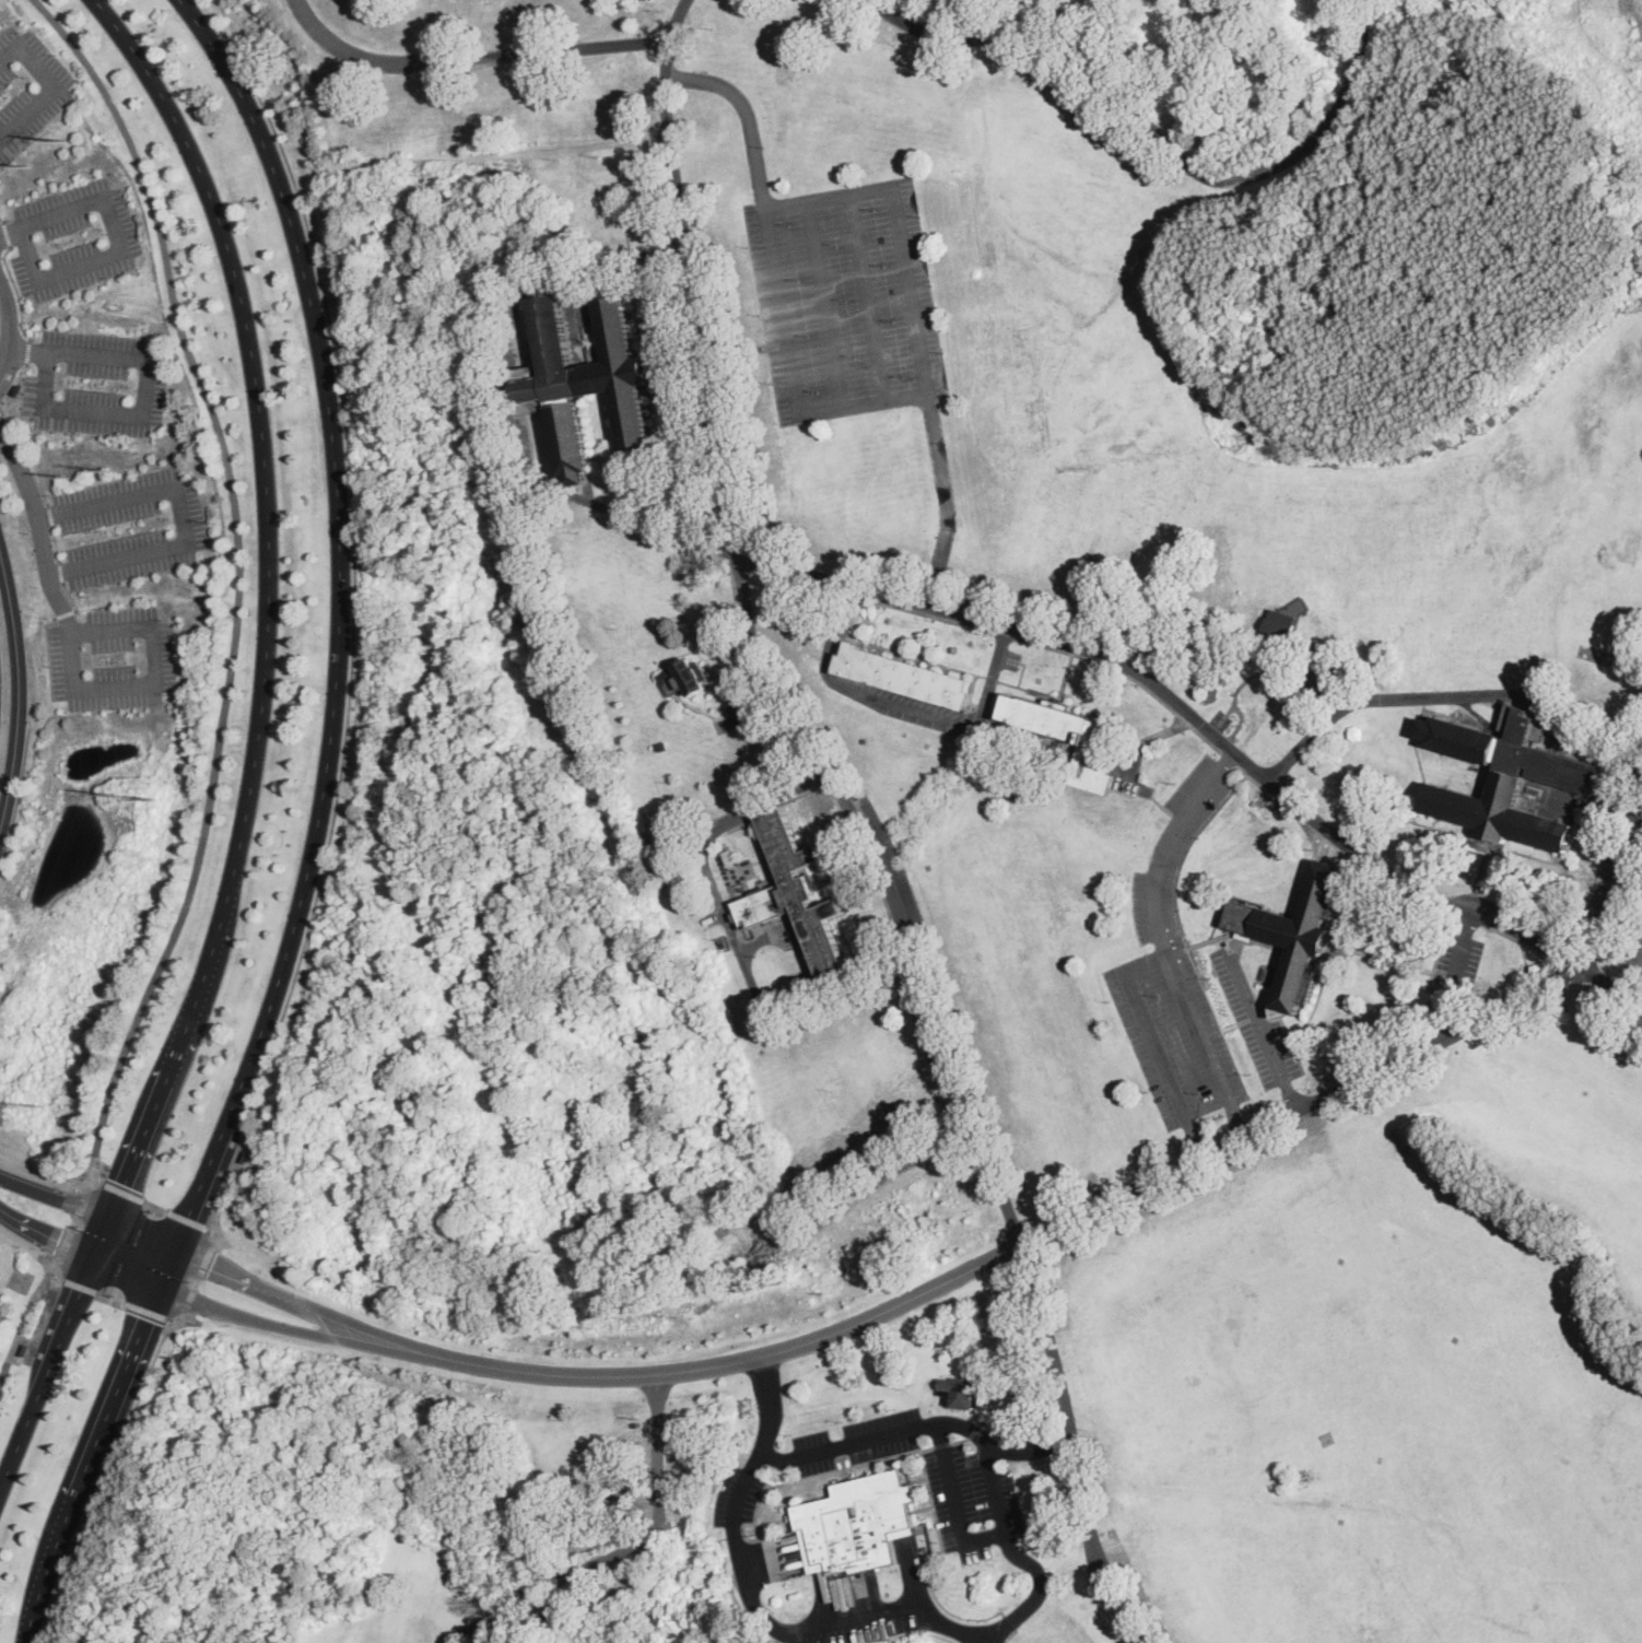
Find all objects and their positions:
road: (471, 56)
road: (56, 84)
parking lot: (28, 91)
road: (749, 115)
road: (1157, 131)
power tower: (67, 142)
power tower: (28, 167)
road: (770, 211)
road: (1, 219)
road: (10, 230)
road: (5, 233)
parking lot: (74, 242)
road: (120, 250)
road: (16, 292)
road: (873, 297)
parking lot: (845, 298)
road: (825, 305)
road: (13, 326)
road: (28, 350)
building: (584, 379)
road: (16, 383)
parking lot: (98, 385)
building: (16, 389)
road: (145, 399)
road: (2, 402)
road: (512, 404)
road: (28, 451)
power tower: (110, 471)
power tower: (68, 478)
road: (948, 498)
road: (38, 514)
road: (180, 516)
road: (50, 517)
parking lot: (129, 528)
road: (57, 545)
road: (62, 574)
road: (237, 582)
building: (1289, 585)
road: (73, 599)
road: (66, 615)
road: (353, 619)
building: (1279, 629)
road: (1005, 637)
road: (754, 646)
road: (829, 647)
road: (48, 655)
road: (726, 656)
parking lot: (114, 661)
building: (904, 677)
building: (685, 680)
road: (146, 684)
road: (16, 689)
road: (990, 689)
road: (722, 695)
road: (1449, 696)
road: (779, 703)
parking lot: (752, 709)
road: (701, 712)
road: (750, 716)
road: (960, 723)
road: (1211, 731)
building: (1065, 735)
building: (664, 747)
road: (256, 748)
building: (1510, 778)
power tower: (109, 797)
power tower: (153, 800)
road: (316, 830)
building: (730, 857)
park: (1309, 862)
road: (1611, 891)
parking lot: (1612, 892)
building: (794, 894)
road: (730, 927)
building: (1297, 934)
road: (1163, 939)
road: (757, 942)
building: (786, 942)
building: (725, 943)
parking lot: (1633, 950)
parking lot: (1457, 965)
road: (1455, 973)
parking lot: (1175, 974)
parking lot: (1256, 1021)
road: (1264, 1032)
road: (1156, 1043)
power tower: (1, 1081)
road: (1301, 1106)
power tower: (44, 1108)
building: (244, 1155)
road: (42, 1176)
road: (95, 1180)
traffic signals: (125, 1185)
road: (32, 1188)
road: (121, 1193)
road: (859, 1197)
road: (155, 1208)
road: (120, 1222)
road: (189, 1223)
road: (28, 1227)
road: (72, 1227)
traffic signals: (58, 1243)
road: (214, 1243)
road: (28, 1244)
road: (107, 1266)
traffic signals: (213, 1266)
road: (57, 1277)
road: (199, 1279)
road: (79, 1286)
road: (112, 1299)
road: (307, 1305)
road: (148, 1312)
road: (184, 1317)
traffic signals: (146, 1318)
road: (172, 1322)
road: (24, 1323)
road: (297, 1329)
building: (24, 1348)
road: (742, 1359)
building: (962, 1393)
road: (770, 1408)
road: (1069, 1417)
road: (927, 1424)
road: (1007, 1429)
road: (973, 1431)
road: (959, 1440)
road: (941, 1444)
road: (978, 1445)
road: (1002, 1448)
road: (109, 1468)
parking lot: (935, 1471)
road: (845, 1475)
road: (811, 1476)
road: (995, 1488)
road: (738, 1494)
parking lot: (736, 1495)
building: (858, 1522)
road: (743, 1525)
road: (632, 1545)
road: (913, 1573)
road: (752, 1598)
road: (1021, 1611)
road: (869, 1613)
building: (554, 1616)
road: (1130, 1617)
parking lot: (858, 1620)
road: (467, 1629)

